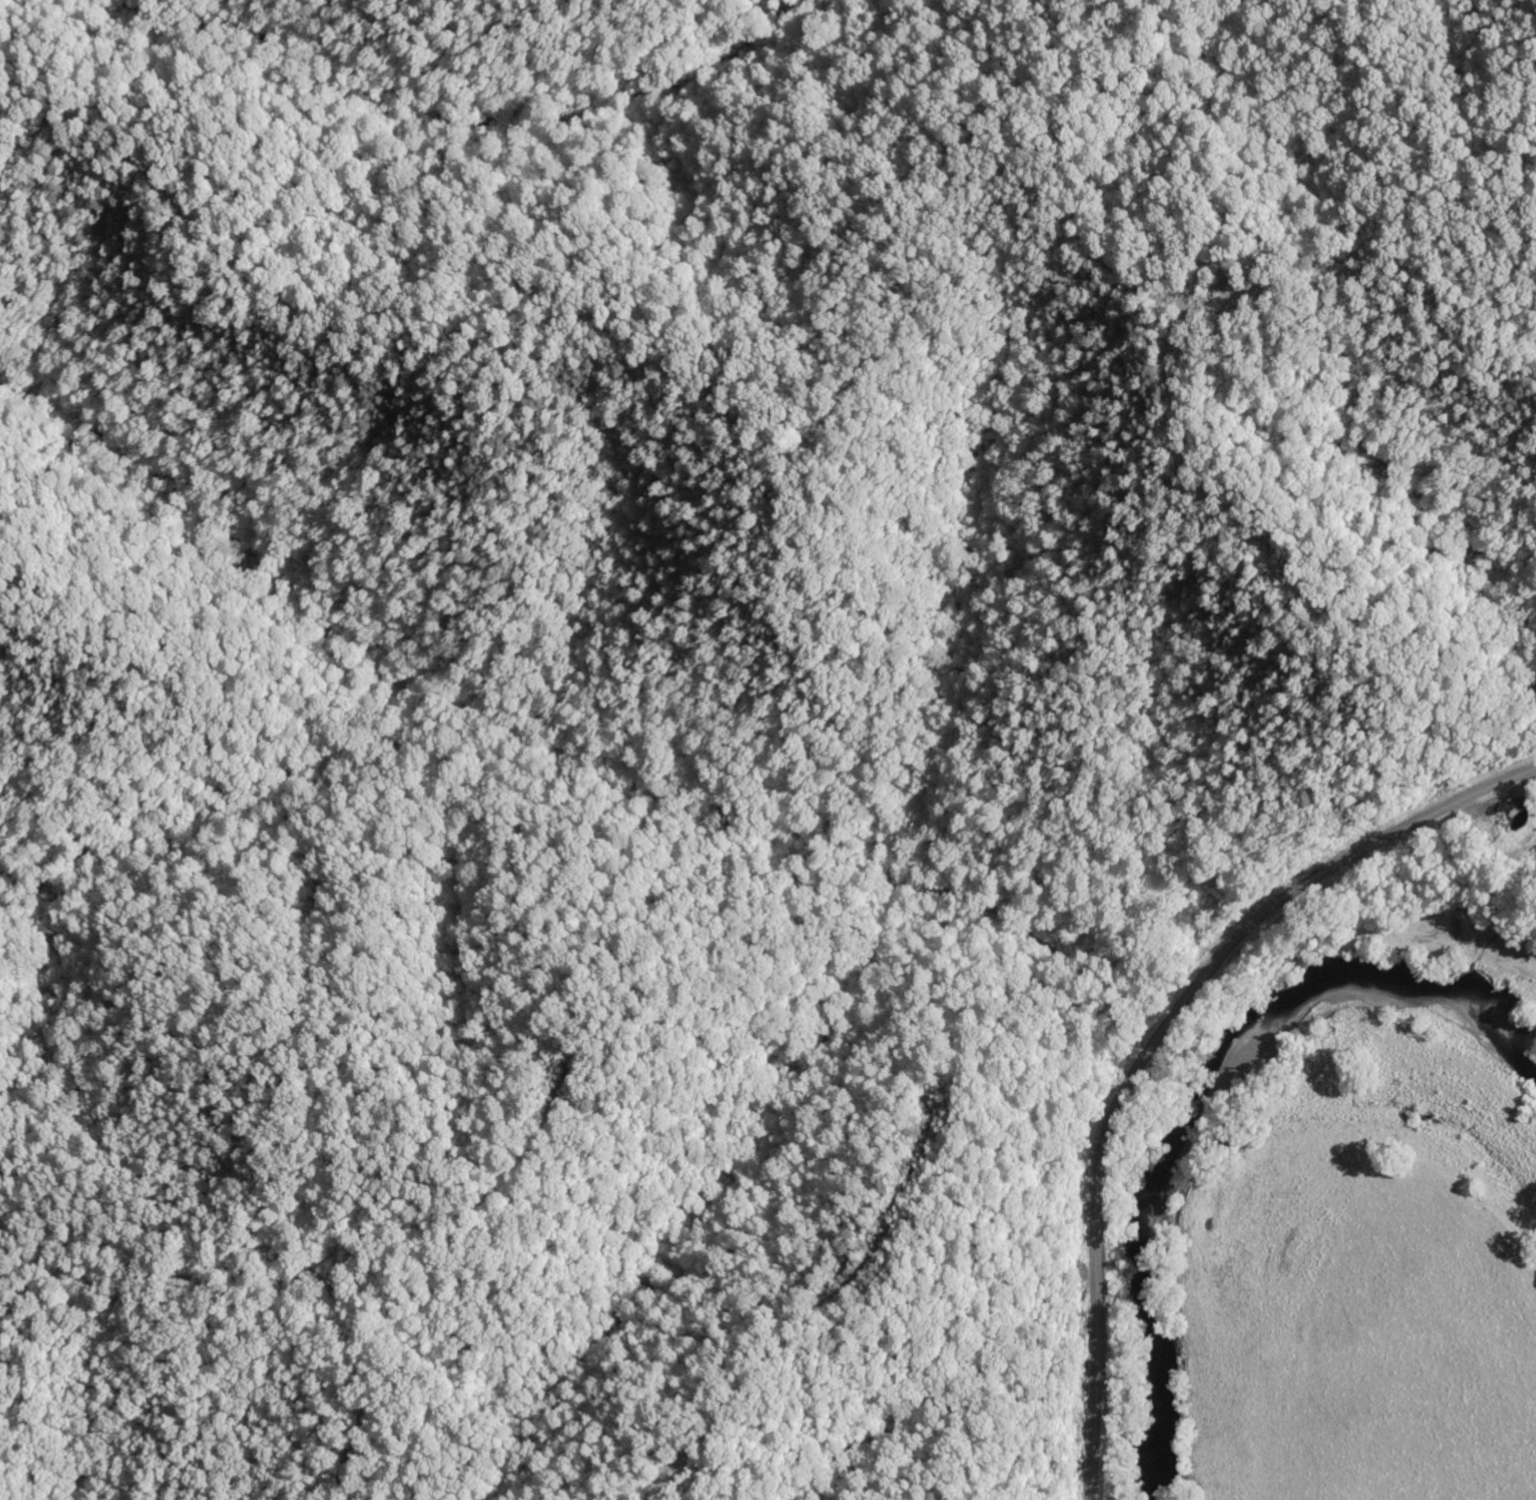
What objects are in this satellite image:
road: (1163, 1042)

